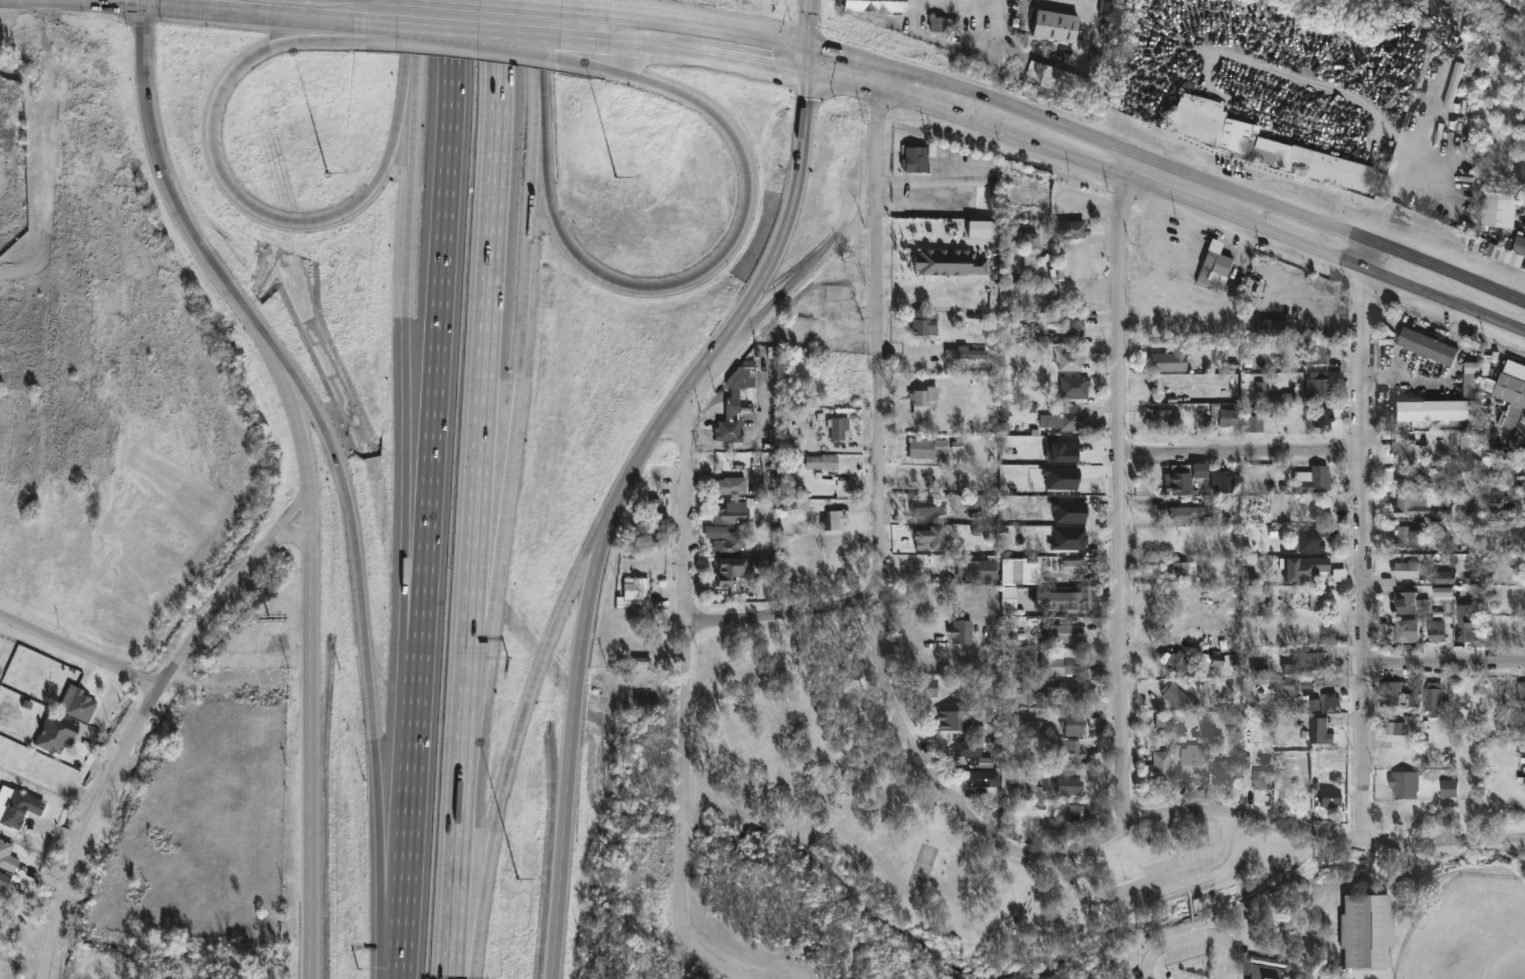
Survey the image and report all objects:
road: (73, 3)
road: (146, 3)
road: (541, 4)
building: (879, 5)
traffic signals: (146, 6)
road: (420, 10)
road: (256, 12)
road: (812, 24)
road: (704, 25)
building: (1051, 25)
road: (466, 30)
road: (322, 32)
road: (546, 42)
road: (606, 43)
traffic signals: (811, 48)
road: (413, 50)
road: (419, 51)
road: (606, 59)
road: (727, 59)
road: (810, 61)
traffic signals: (810, 75)
road: (1346, 94)
road: (540, 115)
road: (546, 115)
building: (1267, 148)
building: (917, 159)
road: (1170, 167)
road: (932, 179)
road: (1428, 181)
road: (1170, 193)
road: (879, 202)
building: (1488, 209)
road: (270, 215)
road: (1518, 217)
road: (1382, 220)
building: (1065, 229)
building: (1148, 243)
building: (1518, 245)
building: (1031, 255)
building: (950, 262)
road: (1089, 264)
road: (707, 268)
building: (1212, 269)
road: (224, 278)
road: (1120, 302)
road: (490, 309)
road: (408, 314)
road: (442, 317)
building: (928, 323)
building: (1070, 324)
building: (1268, 327)
building: (1027, 332)
road: (524, 338)
road: (1370, 343)
building: (1427, 346)
building: (1314, 353)
building: (967, 354)
building: (1167, 359)
building: (1068, 361)
building: (1316, 384)
building: (1072, 386)
road: (304, 393)
building: (1511, 395)
building: (926, 400)
building: (738, 403)
building: (1441, 405)
building: (1214, 412)
building: (1062, 418)
building: (1164, 418)
building: (1322, 419)
building: (1253, 422)
building: (841, 427)
road: (760, 438)
building: (927, 446)
building: (1405, 447)
road: (1248, 453)
building: (824, 461)
road: (879, 461)
building: (1180, 477)
building: (1406, 477)
building: (1314, 480)
building: (1222, 481)
building: (733, 485)
road: (615, 503)
road: (296, 505)
building: (933, 506)
road: (686, 508)
building: (1418, 508)
building: (733, 513)
building: (1187, 513)
building: (837, 519)
building: (658, 521)
road: (297, 533)
building: (1067, 535)
building: (932, 536)
building: (1402, 536)
building: (1308, 538)
building: (727, 547)
building: (1073, 567)
building: (981, 568)
building: (1301, 569)
building: (739, 570)
building: (1405, 570)
building: (1183, 571)
road: (488, 576)
building: (1454, 584)
road: (578, 588)
road: (416, 591)
building: (636, 591)
building: (1442, 594)
building: (1072, 601)
building: (1316, 601)
building: (1402, 604)
road: (216, 612)
road: (363, 613)
road: (787, 616)
building: (1469, 624)
building: (964, 629)
building: (1408, 630)
road: (1128, 631)
building: (1435, 632)
building: (1065, 633)
road: (1366, 644)
road: (78, 653)
building: (1060, 662)
building: (1175, 663)
building: (1304, 664)
road: (1445, 668)
building: (929, 686)
building: (1064, 692)
building: (1520, 692)
building: (1389, 693)
building: (1174, 695)
building: (1436, 699)
building: (80, 704)
building: (1329, 704)
building: (947, 721)
building: (1071, 724)
building: (1392, 728)
building: (1317, 731)
building: (56, 732)
building: (970, 747)
building: (1071, 751)
building: (1192, 760)
road: (320, 762)
building: (1156, 765)
road: (417, 767)
building: (1225, 770)
building: (980, 776)
building: (1260, 779)
road: (505, 780)
building: (1068, 784)
building: (1295, 790)
road: (951, 793)
building: (1327, 793)
road: (463, 799)
building: (18, 805)
road: (689, 810)
building: (1076, 813)
road: (1327, 829)
road: (91, 830)
park: (970, 845)
road: (395, 854)
building: (8, 855)
road: (1195, 867)
building: (4, 881)
building: (1363, 931)
road: (1196, 937)
road: (406, 939)
road: (472, 959)
building: (1267, 968)

